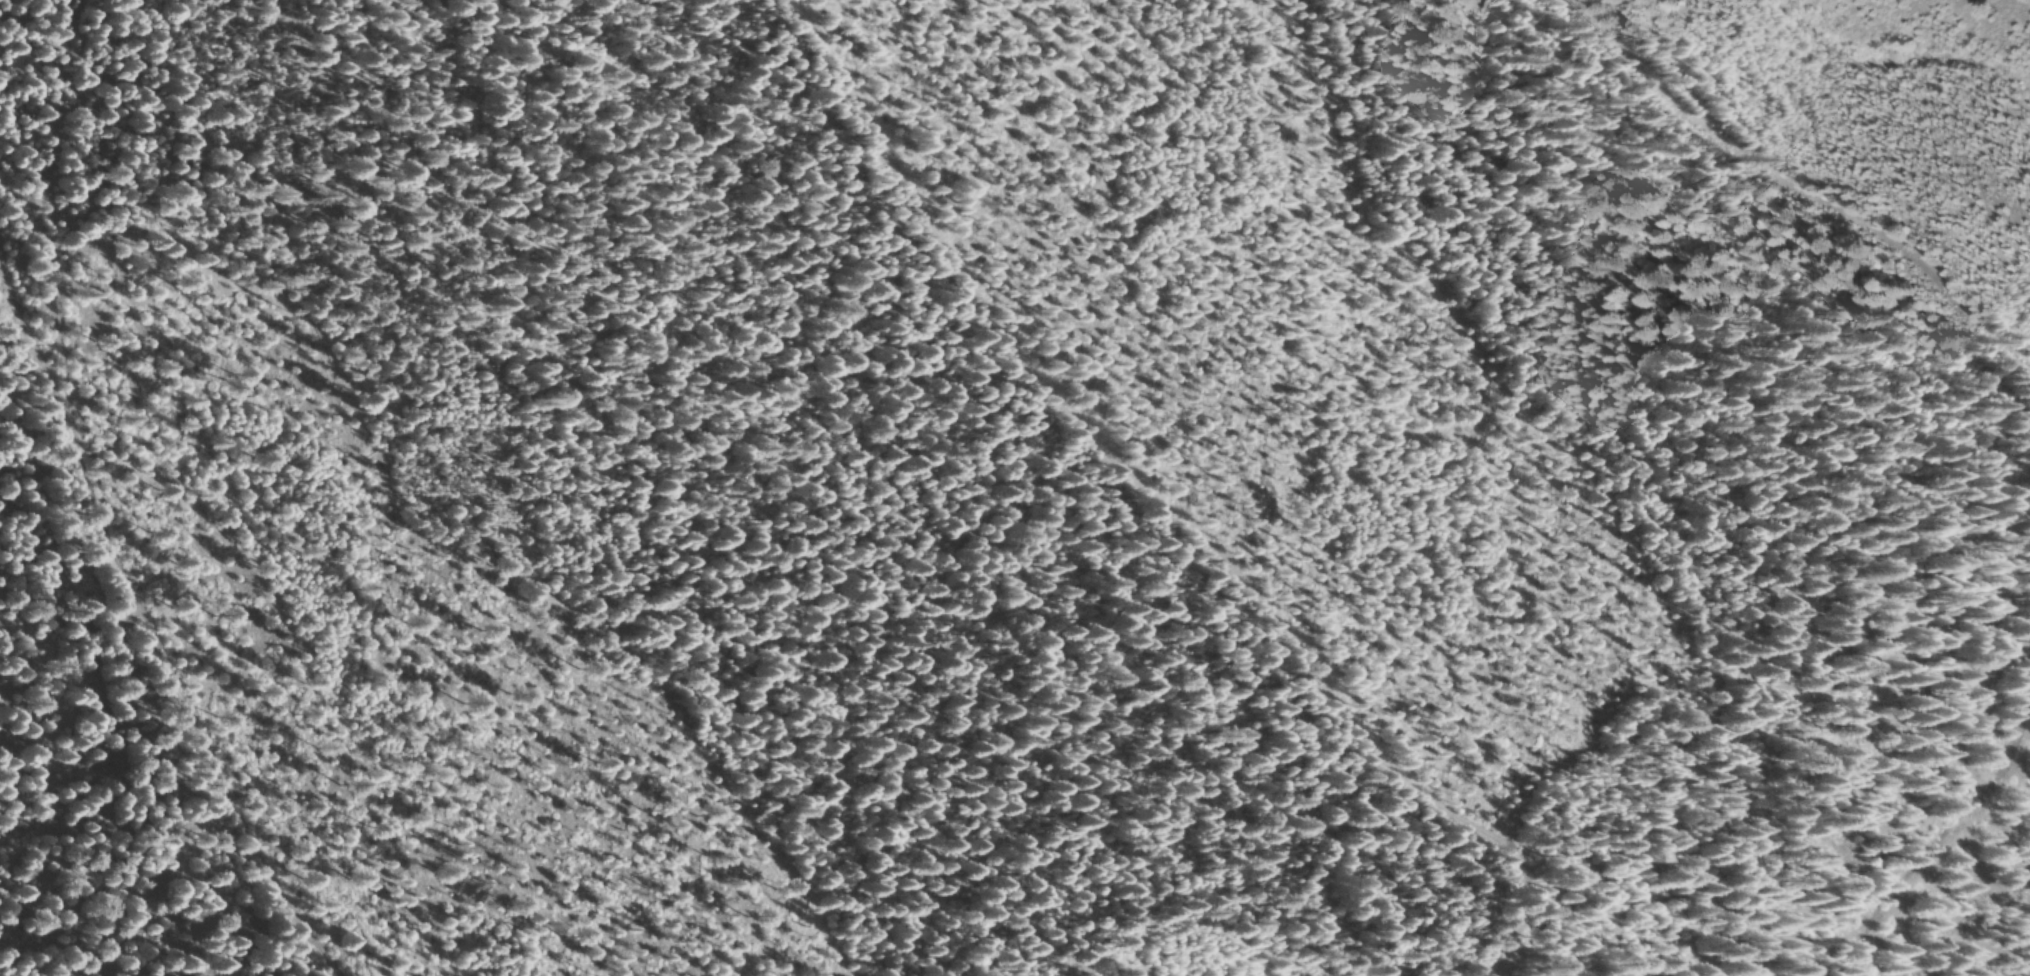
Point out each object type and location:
road: (1, 1)
road: (1961, 437)
road: (1131, 550)
road: (131, 673)

